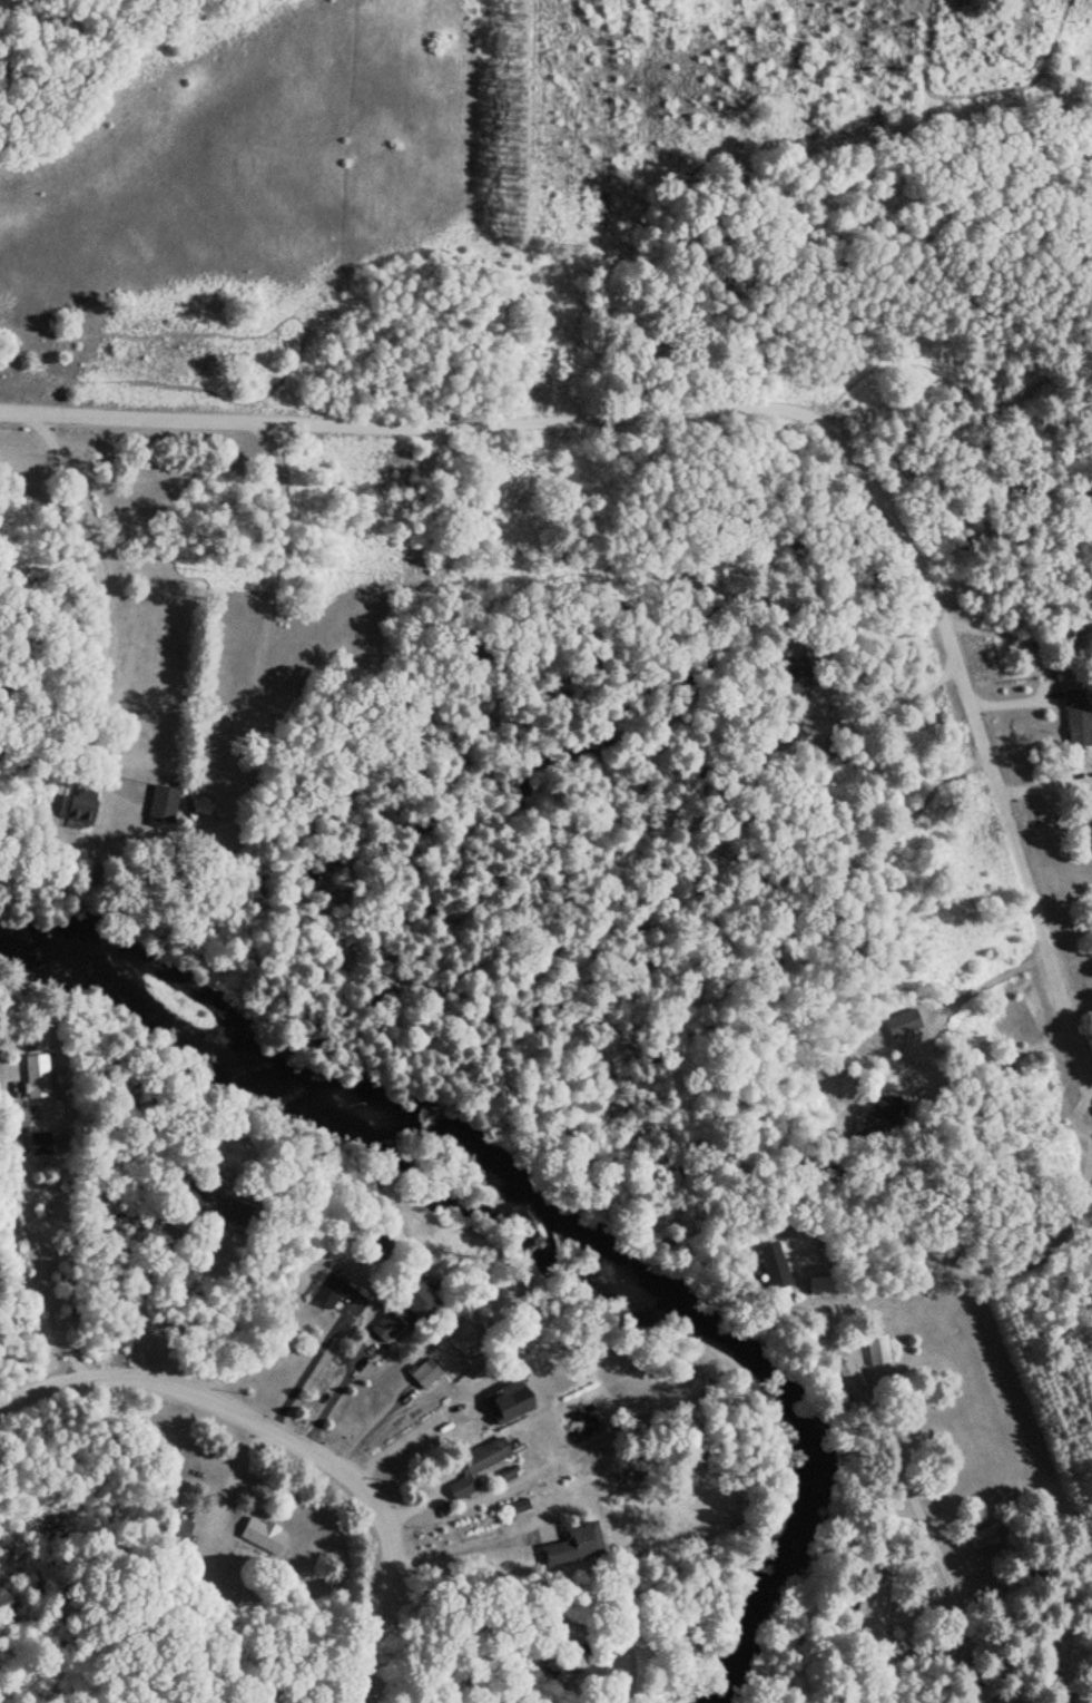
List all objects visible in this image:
road: (288, 496)
road: (884, 496)
building: (1073, 716)
building: (160, 803)
building: (33, 1075)
river: (543, 1208)
building: (416, 1296)
building: (384, 1325)
building: (465, 1340)
building: (874, 1349)
building: (423, 1372)
building: (846, 1379)
building: (506, 1401)
road: (302, 1421)
building: (474, 1467)
building: (260, 1536)
building: (980, 1537)
building: (571, 1544)
building: (870, 1607)
road: (997, 1648)

